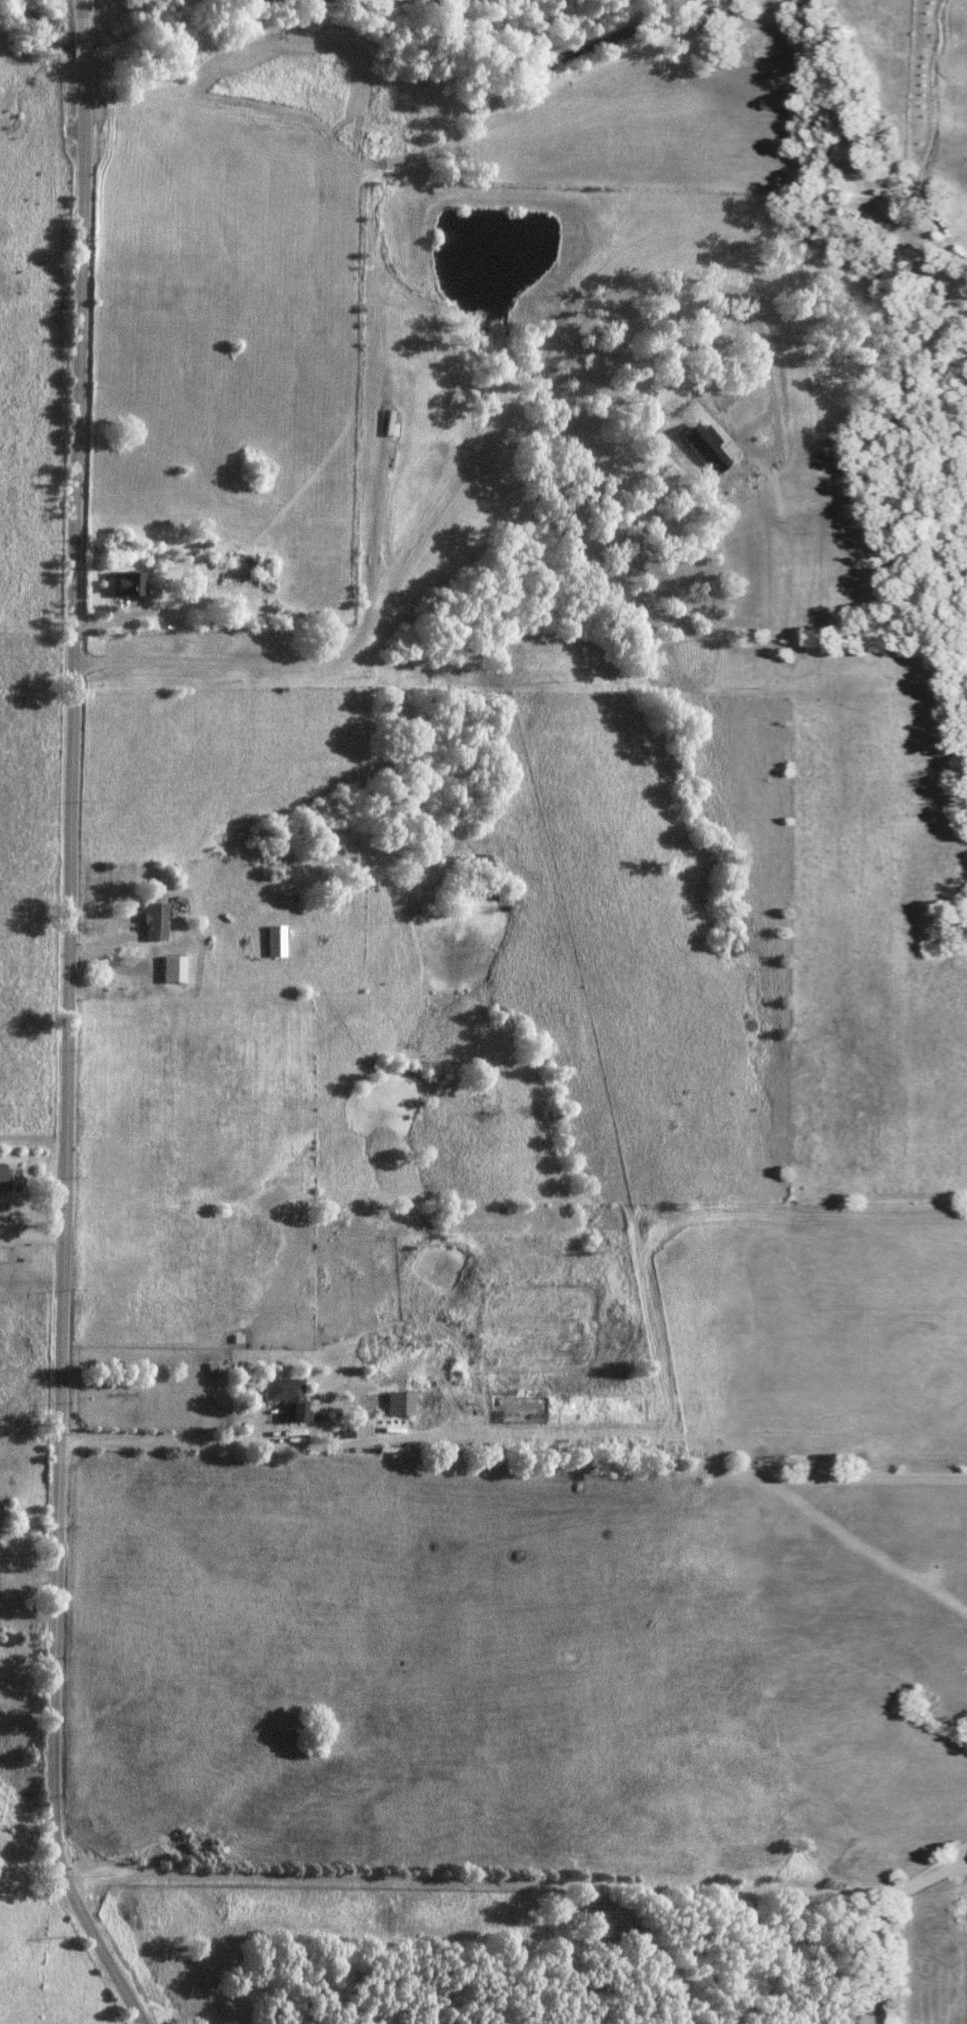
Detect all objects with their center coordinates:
road: (736, 203)
road: (964, 233)
road: (958, 234)
road: (756, 313)
building: (382, 422)
building: (255, 572)
building: (121, 582)
road: (380, 604)
building: (148, 919)
building: (269, 940)
building: (169, 968)
road: (71, 1023)
building: (9, 1178)
road: (33, 1234)
building: (285, 1395)
building: (399, 1403)
road: (160, 1439)
road: (29, 1563)
road: (519, 1892)

